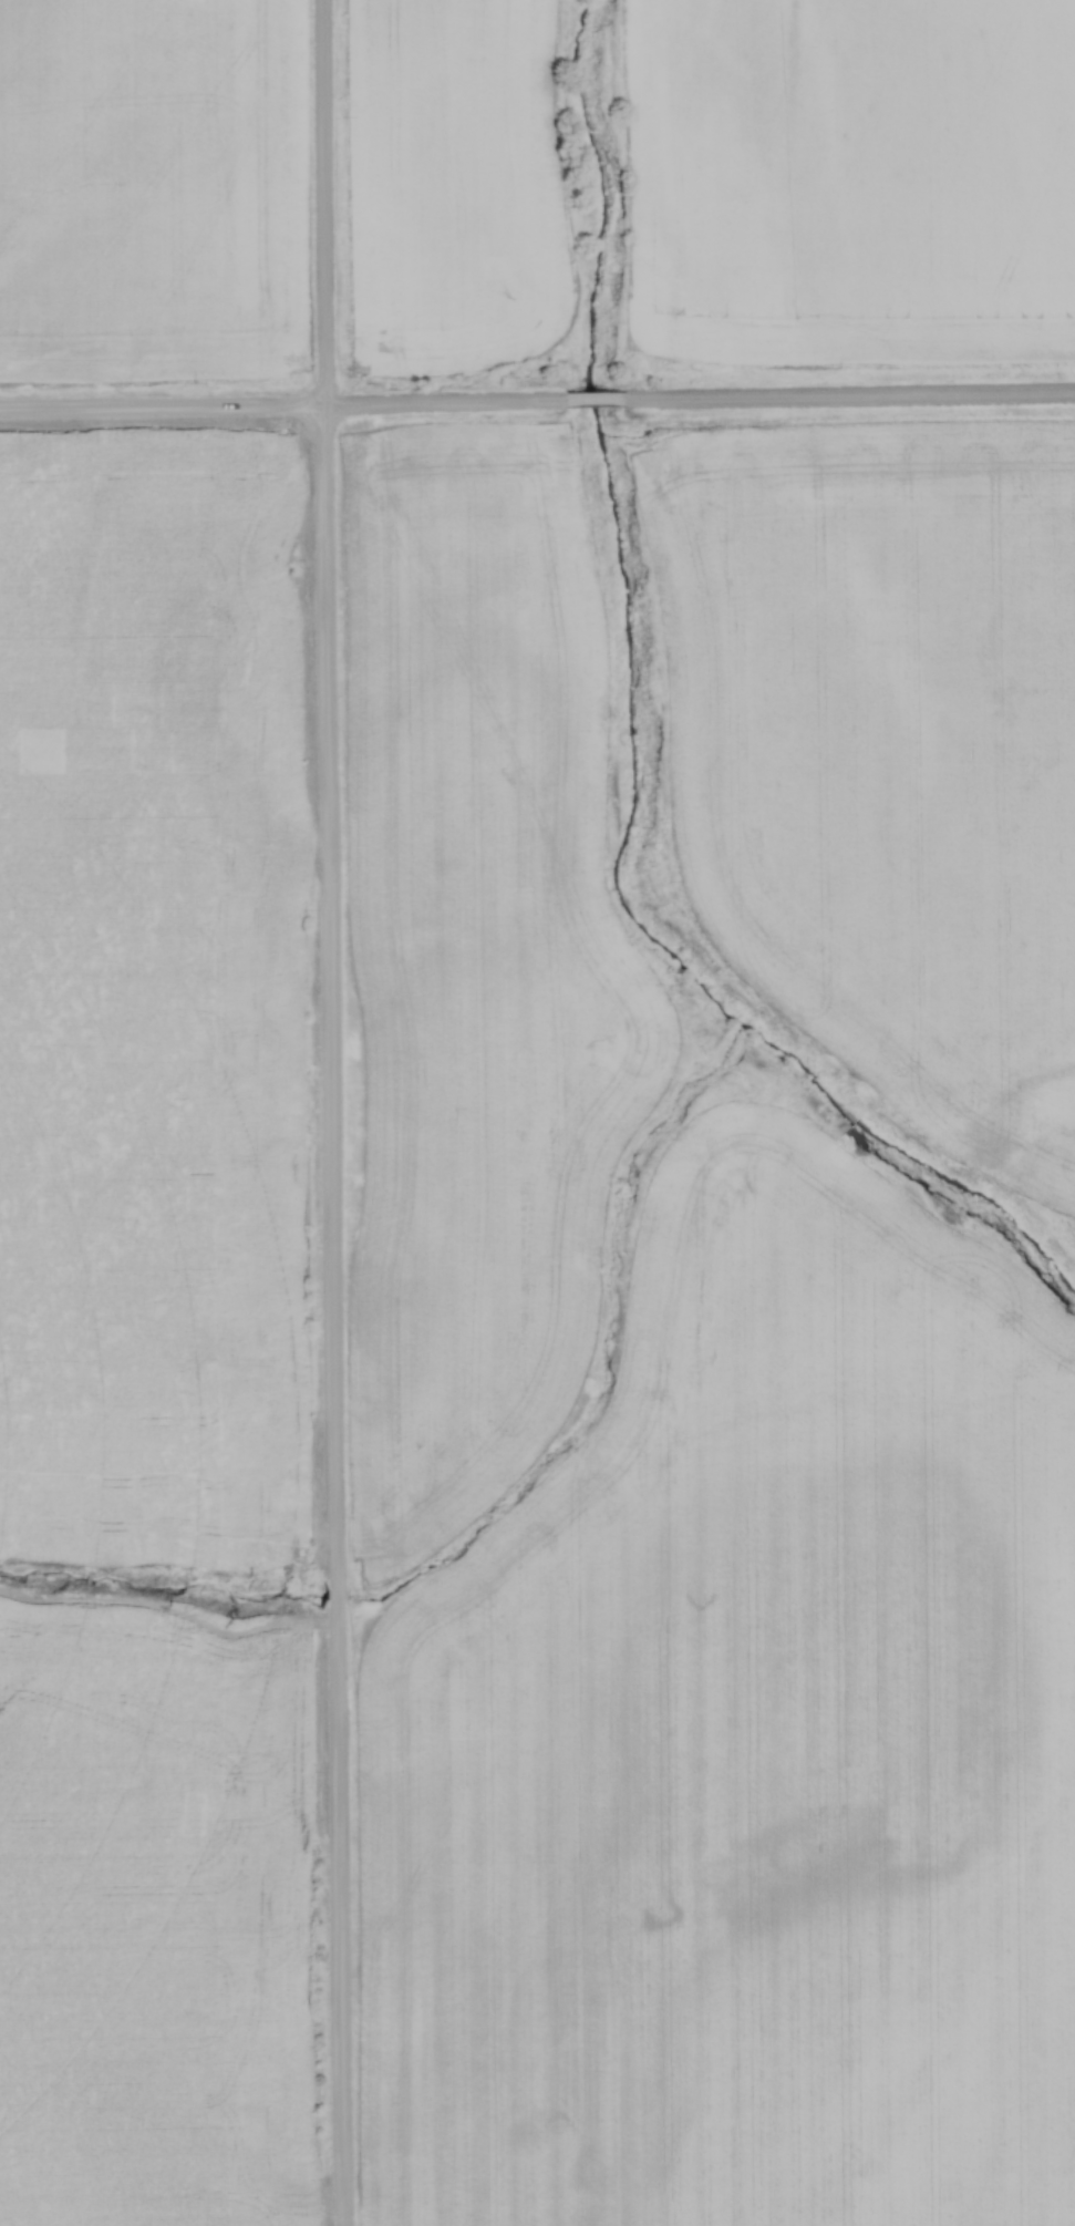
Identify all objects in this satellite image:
road: (589, 396)
road: (847, 401)
road: (440, 402)
road: (161, 412)
river: (629, 744)
road: (329, 1113)

